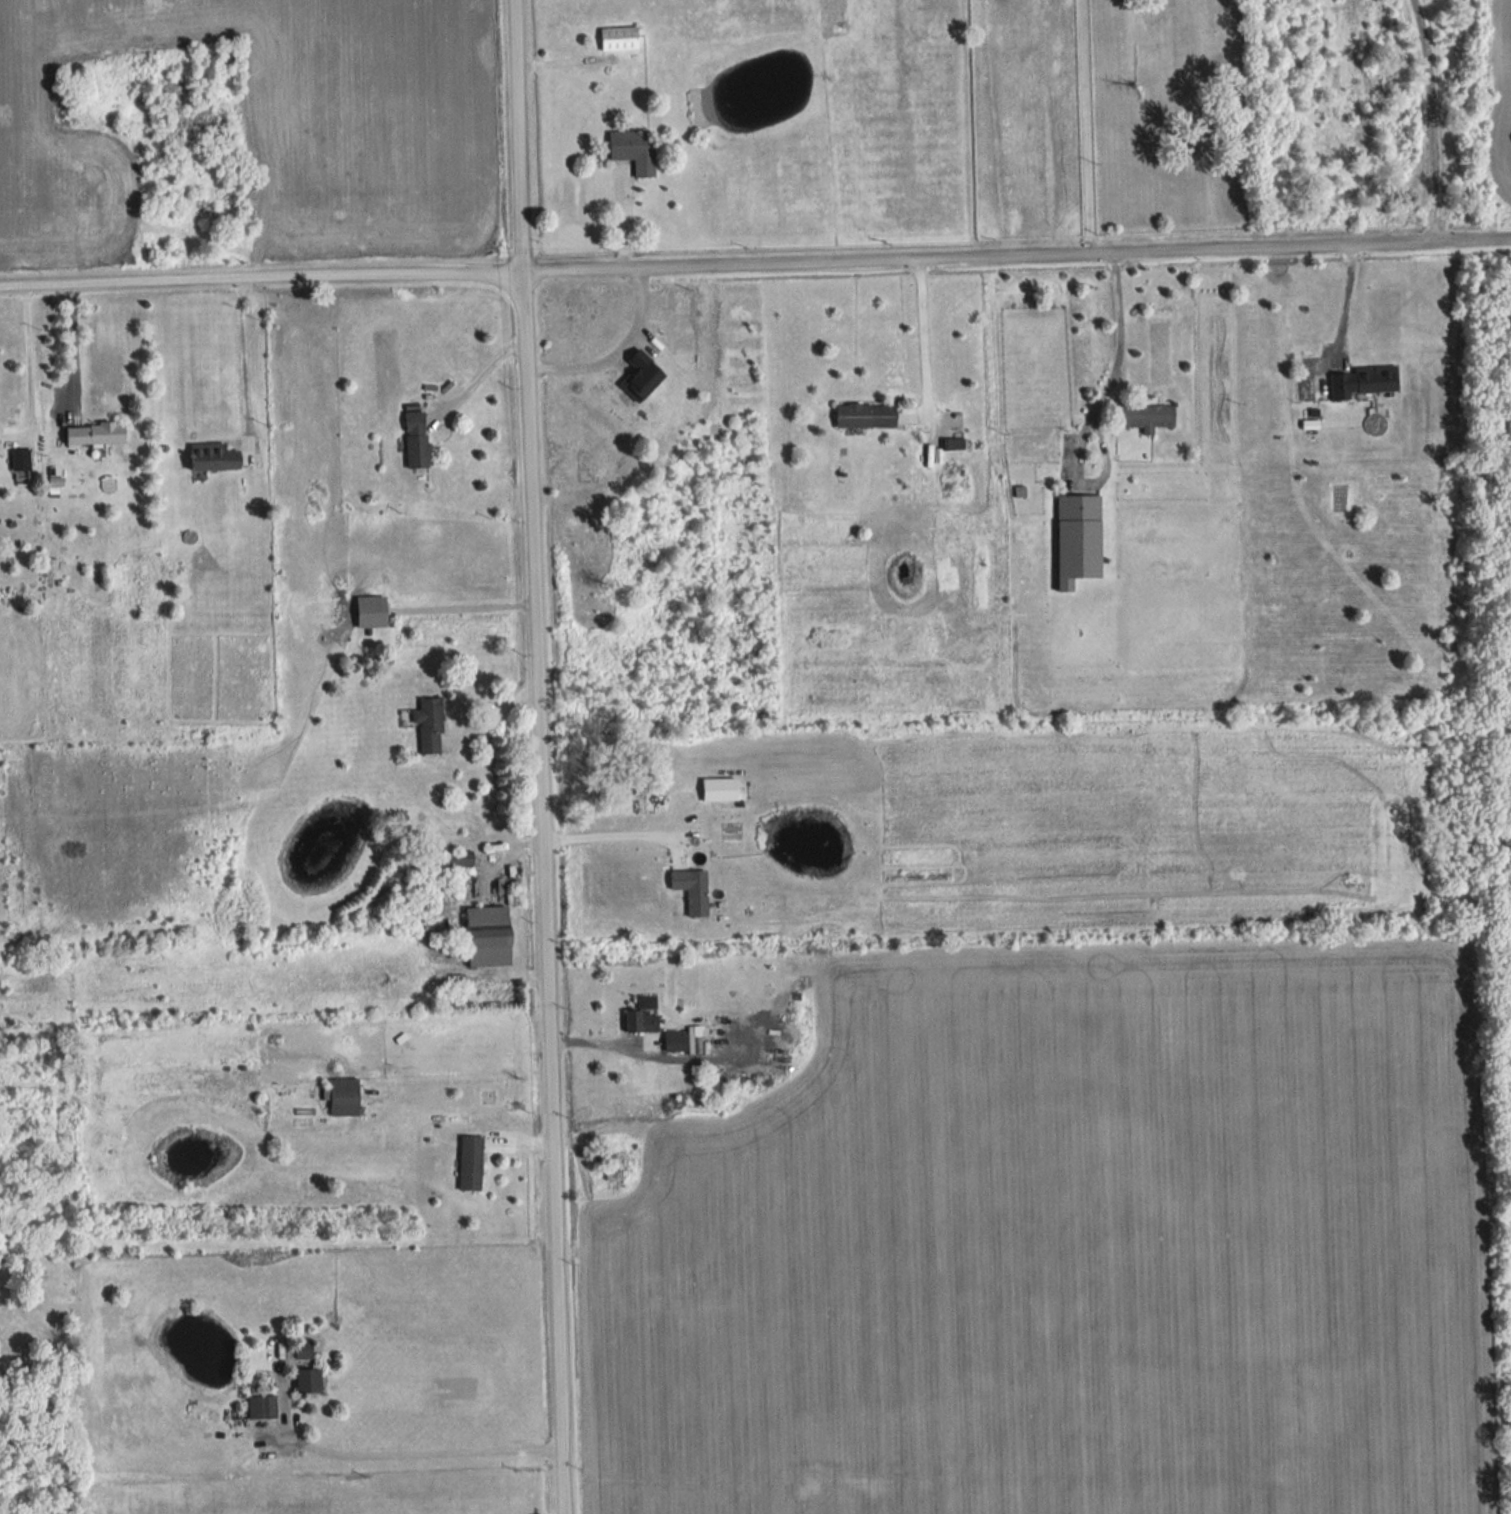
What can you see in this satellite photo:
building: (618, 37)
road: (1430, 121)
crop: (267, 125)
road: (1085, 128)
building: (633, 149)
road: (755, 266)
road: (1345, 301)
road: (923, 337)
road: (73, 343)
road: (28, 349)
road: (243, 350)
road: (477, 369)
building: (1362, 380)
building: (865, 415)
road: (1089, 415)
building: (1144, 416)
building: (94, 434)
building: (415, 439)
building: (954, 443)
building: (212, 457)
building: (20, 459)
building: (1077, 539)
building: (947, 573)
building: (980, 575)
road: (462, 604)
building: (371, 611)
road: (491, 715)
building: (428, 726)
road: (535, 757)
building: (719, 790)
road: (607, 835)
building: (691, 889)
building: (487, 936)
building: (645, 1020)
building: (681, 1040)
road: (644, 1045)
building: (343, 1096)
building: (469, 1163)
building: (616, 1166)
building: (303, 1350)
building: (313, 1380)
building: (261, 1407)
road: (415, 1453)

